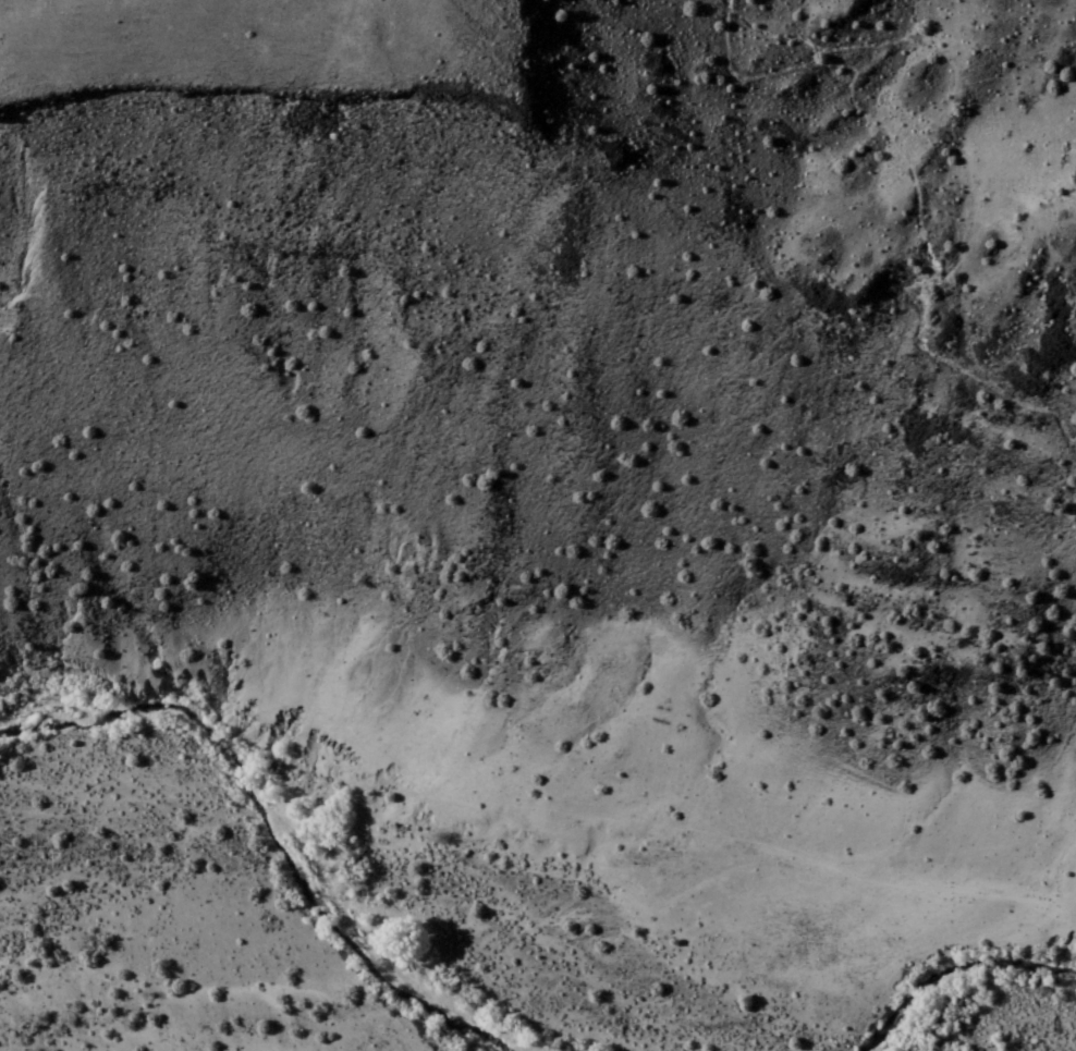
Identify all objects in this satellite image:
road: (358, 4)
road: (916, 193)
road: (1056, 543)
river: (295, 830)
road: (1068, 860)
road: (959, 960)
river: (944, 993)

